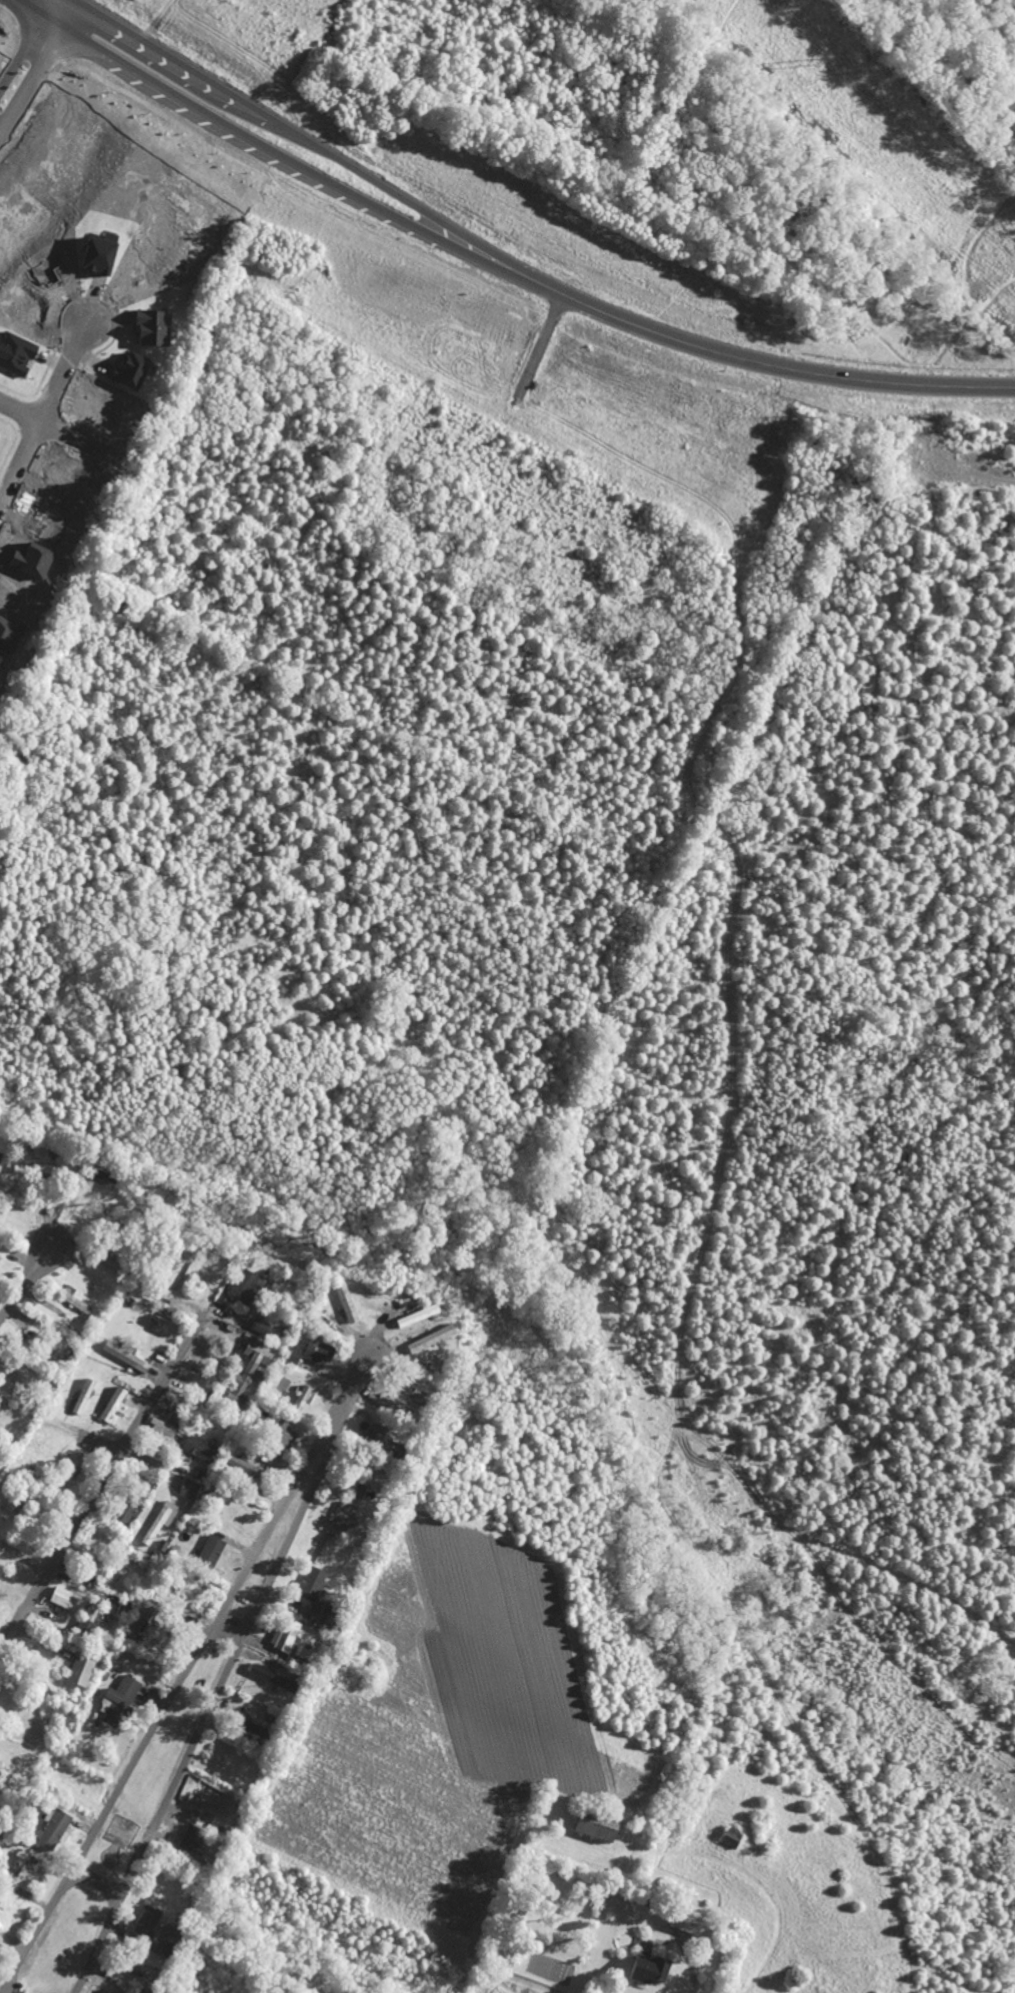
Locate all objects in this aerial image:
road: (160, 20)
road: (646, 28)
road: (664, 32)
road: (710, 48)
road: (33, 56)
power tower: (805, 62)
road: (932, 74)
road: (389, 90)
road: (261, 110)
road: (726, 111)
road: (228, 122)
park: (838, 176)
road: (870, 205)
road: (820, 240)
road: (764, 241)
road: (970, 253)
road: (689, 282)
road: (870, 311)
road: (541, 342)
road: (717, 351)
road: (62, 371)
road: (32, 415)
road: (20, 462)
road: (965, 467)
road: (732, 1079)
building: (33, 1170)
building: (102, 1171)
building: (0, 1257)
road: (25, 1284)
building: (244, 1286)
building: (345, 1302)
building: (77, 1303)
building: (416, 1315)
building: (266, 1329)
building: (430, 1338)
building: (320, 1351)
building: (291, 1355)
building: (125, 1356)
building: (248, 1371)
building: (83, 1396)
building: (302, 1397)
building: (112, 1404)
building: (278, 1439)
building: (200, 1447)
building: (238, 1463)
building: (69, 1472)
building: (189, 1488)
building: (355, 1488)
road: (95, 1495)
building: (123, 1512)
building: (342, 1516)
building: (160, 1521)
building: (311, 1583)
building: (65, 1599)
building: (325, 1616)
building: (88, 1618)
building: (142, 1626)
building: (80, 1670)
road: (186, 1674)
road: (219, 1690)
building: (118, 1700)
building: (249, 1726)
building: (207, 1806)
building: (595, 1825)
building: (52, 1827)
building: (190, 1838)
building: (18, 1862)
road: (98, 1883)
building: (685, 1920)
building: (146, 1921)
building: (647, 1968)
road: (692, 1973)
building: (105, 1991)
building: (141, 1992)

